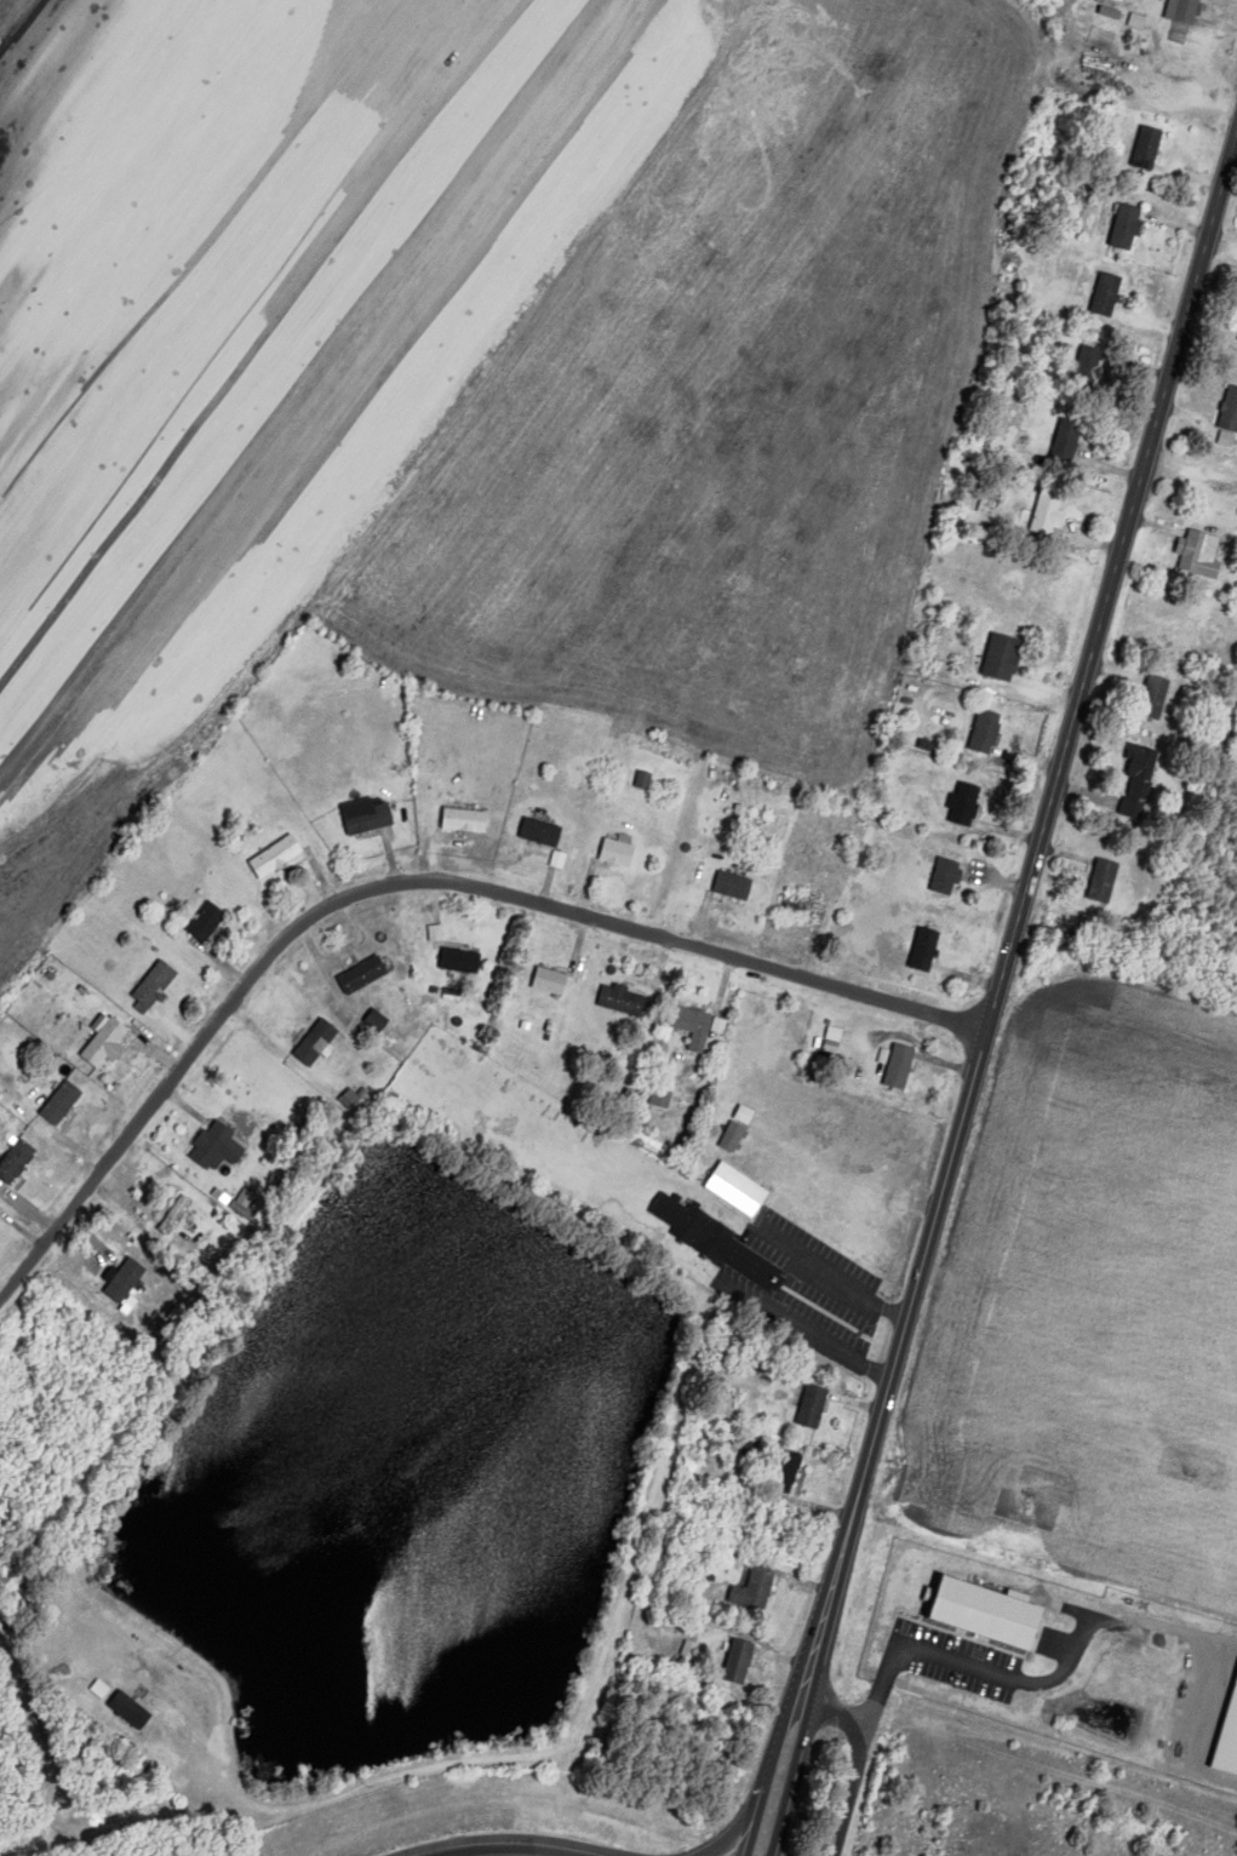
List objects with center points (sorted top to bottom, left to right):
building: (1189, 11)
road: (1199, 71)
building: (1150, 149)
road: (1196, 176)
building: (1063, 184)
road: (1156, 205)
road: (1178, 227)
building: (1128, 229)
building: (1109, 297)
road: (1156, 315)
building: (1231, 413)
road: (1112, 465)
building: (1050, 509)
road: (922, 526)
road: (1094, 542)
building: (1202, 554)
building: (1004, 658)
road: (1052, 691)
building: (1156, 698)
building: (987, 732)
road: (1037, 761)
building: (1138, 778)
building: (966, 803)
building: (368, 815)
building: (465, 820)
road: (1013, 830)
building: (543, 832)
building: (619, 853)
road: (433, 855)
building: (277, 857)
road: (394, 857)
road: (321, 876)
building: (947, 876)
road: (405, 881)
building: (1105, 881)
road: (1001, 883)
building: (734, 886)
road: (548, 887)
road: (584, 889)
building: (803, 905)
building: (208, 921)
road: (701, 924)
building: (927, 950)
road: (223, 961)
building: (463, 961)
road: (970, 974)
building: (365, 975)
building: (551, 981)
building: (156, 985)
road: (997, 995)
building: (625, 1001)
building: (378, 1021)
road: (179, 1022)
building: (697, 1027)
building: (835, 1039)
building: (107, 1043)
building: (317, 1043)
road: (160, 1054)
building: (901, 1066)
building: (663, 1096)
building: (63, 1102)
building: (214, 1145)
building: (17, 1161)
building: (181, 1205)
building: (720, 1242)
building: (815, 1407)
building: (786, 1471)
building: (758, 1588)
building: (991, 1612)
building: (741, 1662)
road: (963, 1663)
building: (131, 1711)
road: (859, 1763)
road: (517, 1839)

